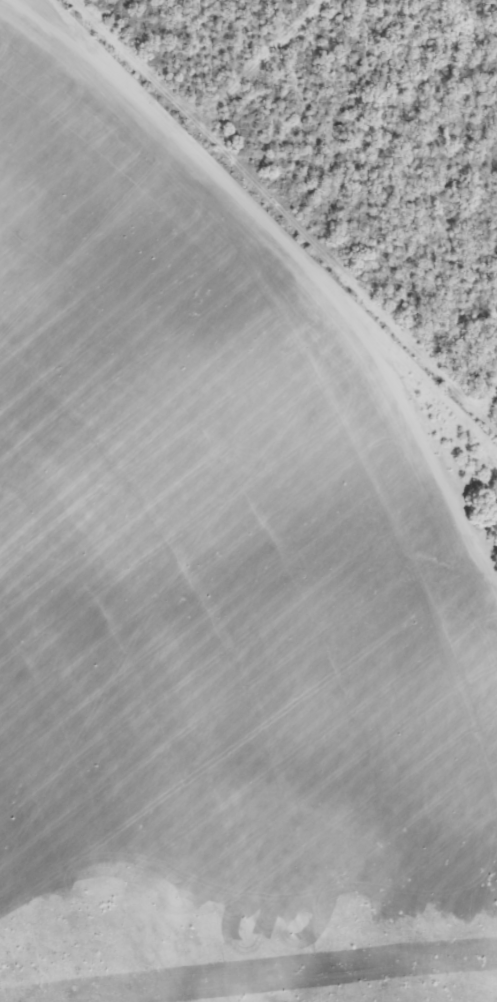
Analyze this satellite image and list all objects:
road: (388, 96)

